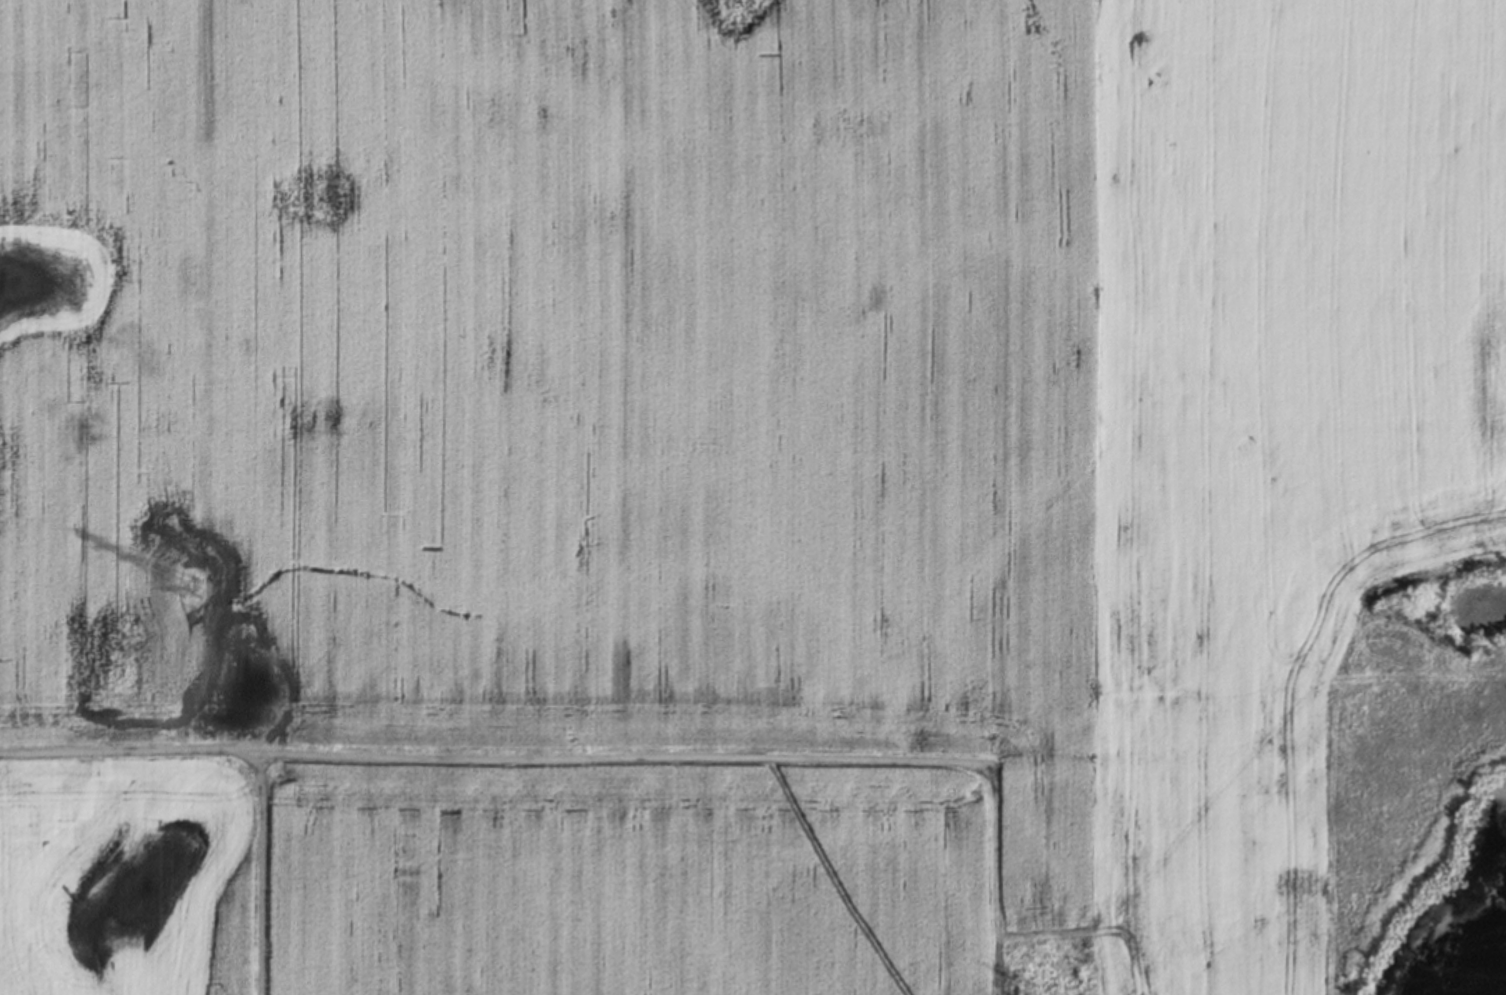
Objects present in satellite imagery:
power tower: (188, 585)

